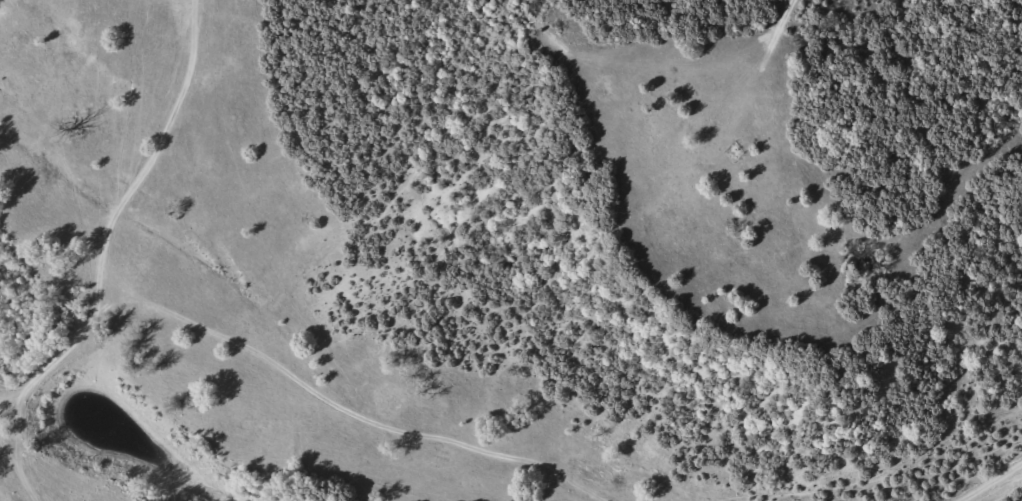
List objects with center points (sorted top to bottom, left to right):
road: (114, 288)

